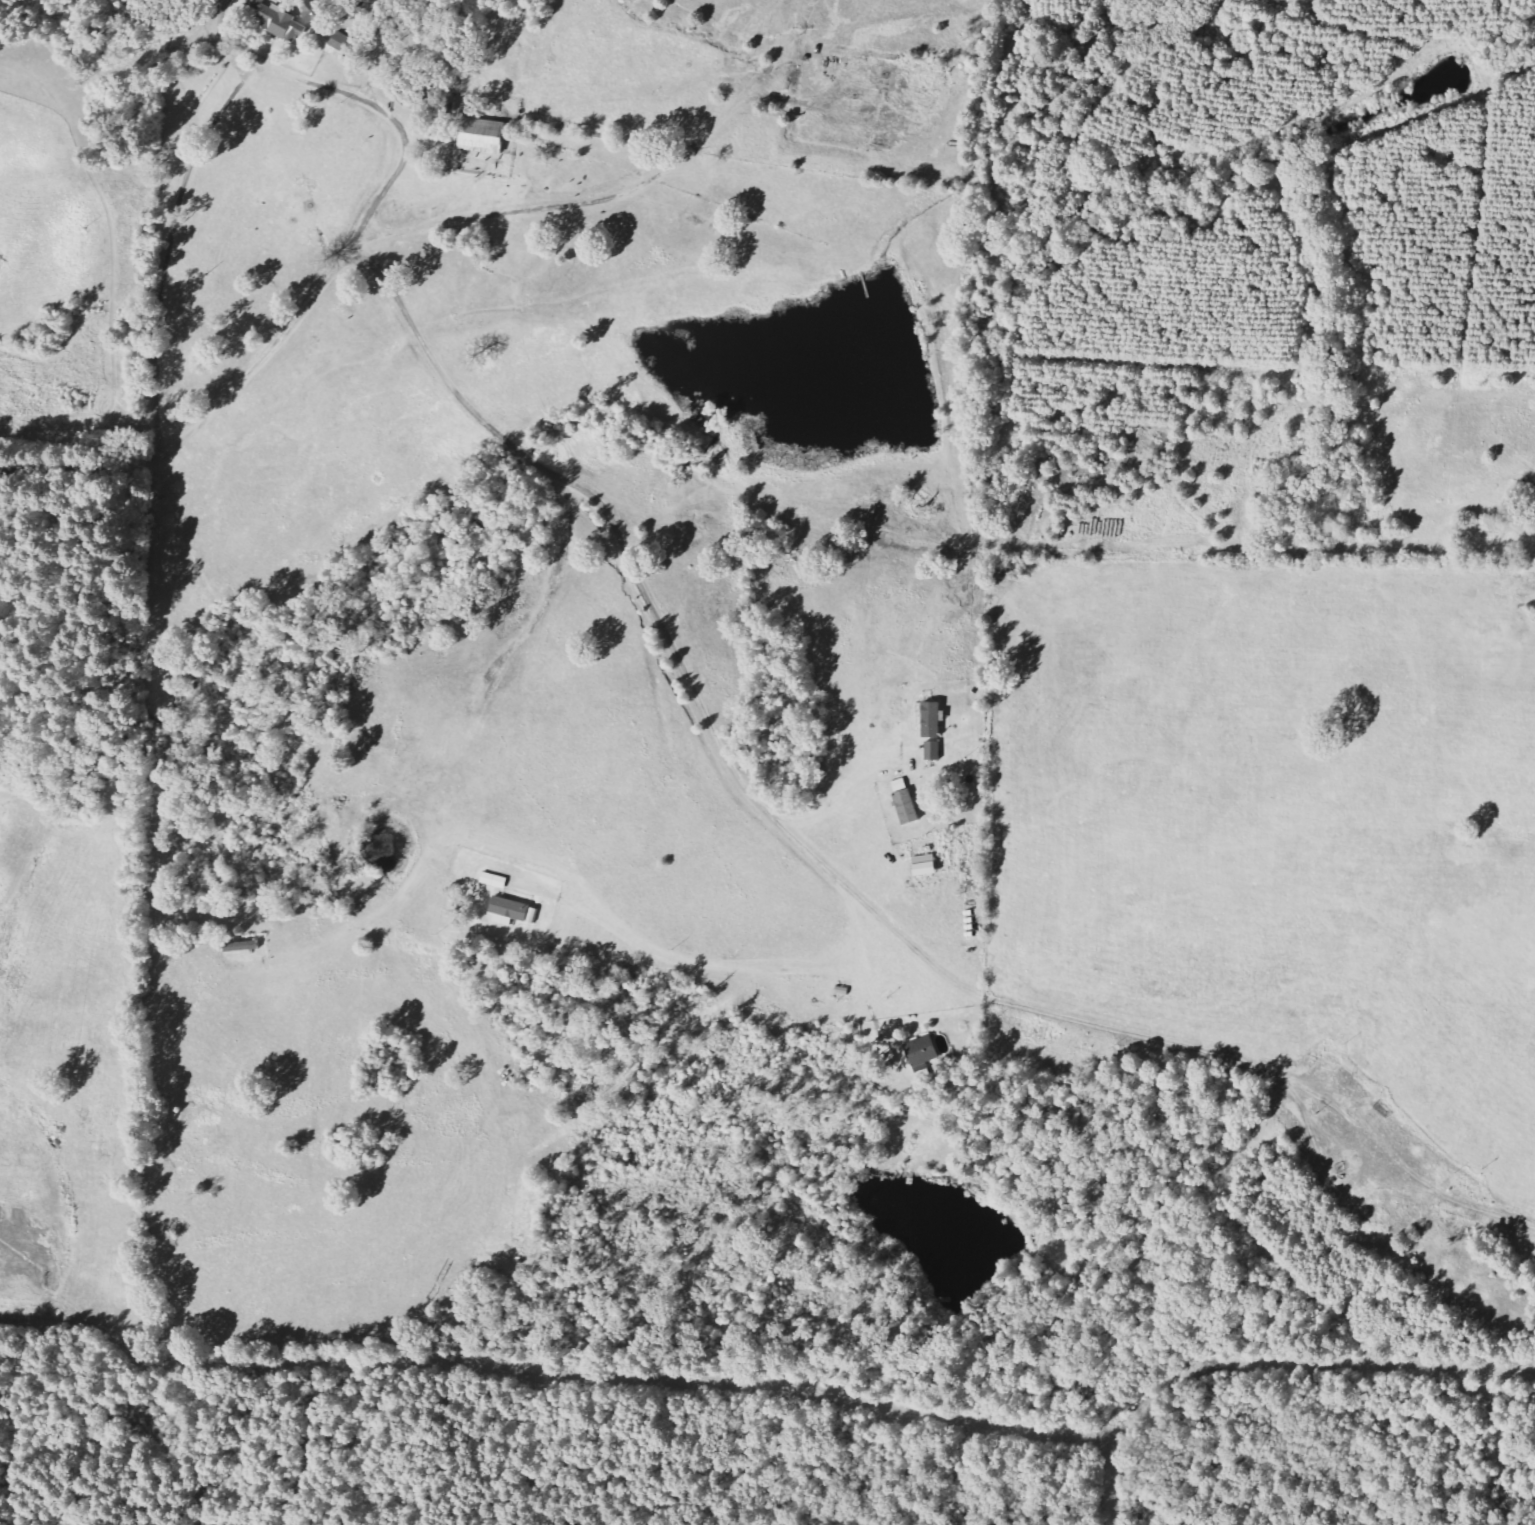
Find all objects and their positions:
building: (314, 13)
building: (279, 22)
building: (483, 136)
road: (376, 210)
road: (73, 464)
road: (657, 617)
building: (932, 719)
building: (933, 751)
road: (836, 802)
building: (907, 807)
building: (509, 911)
road: (728, 958)
building: (922, 1051)

